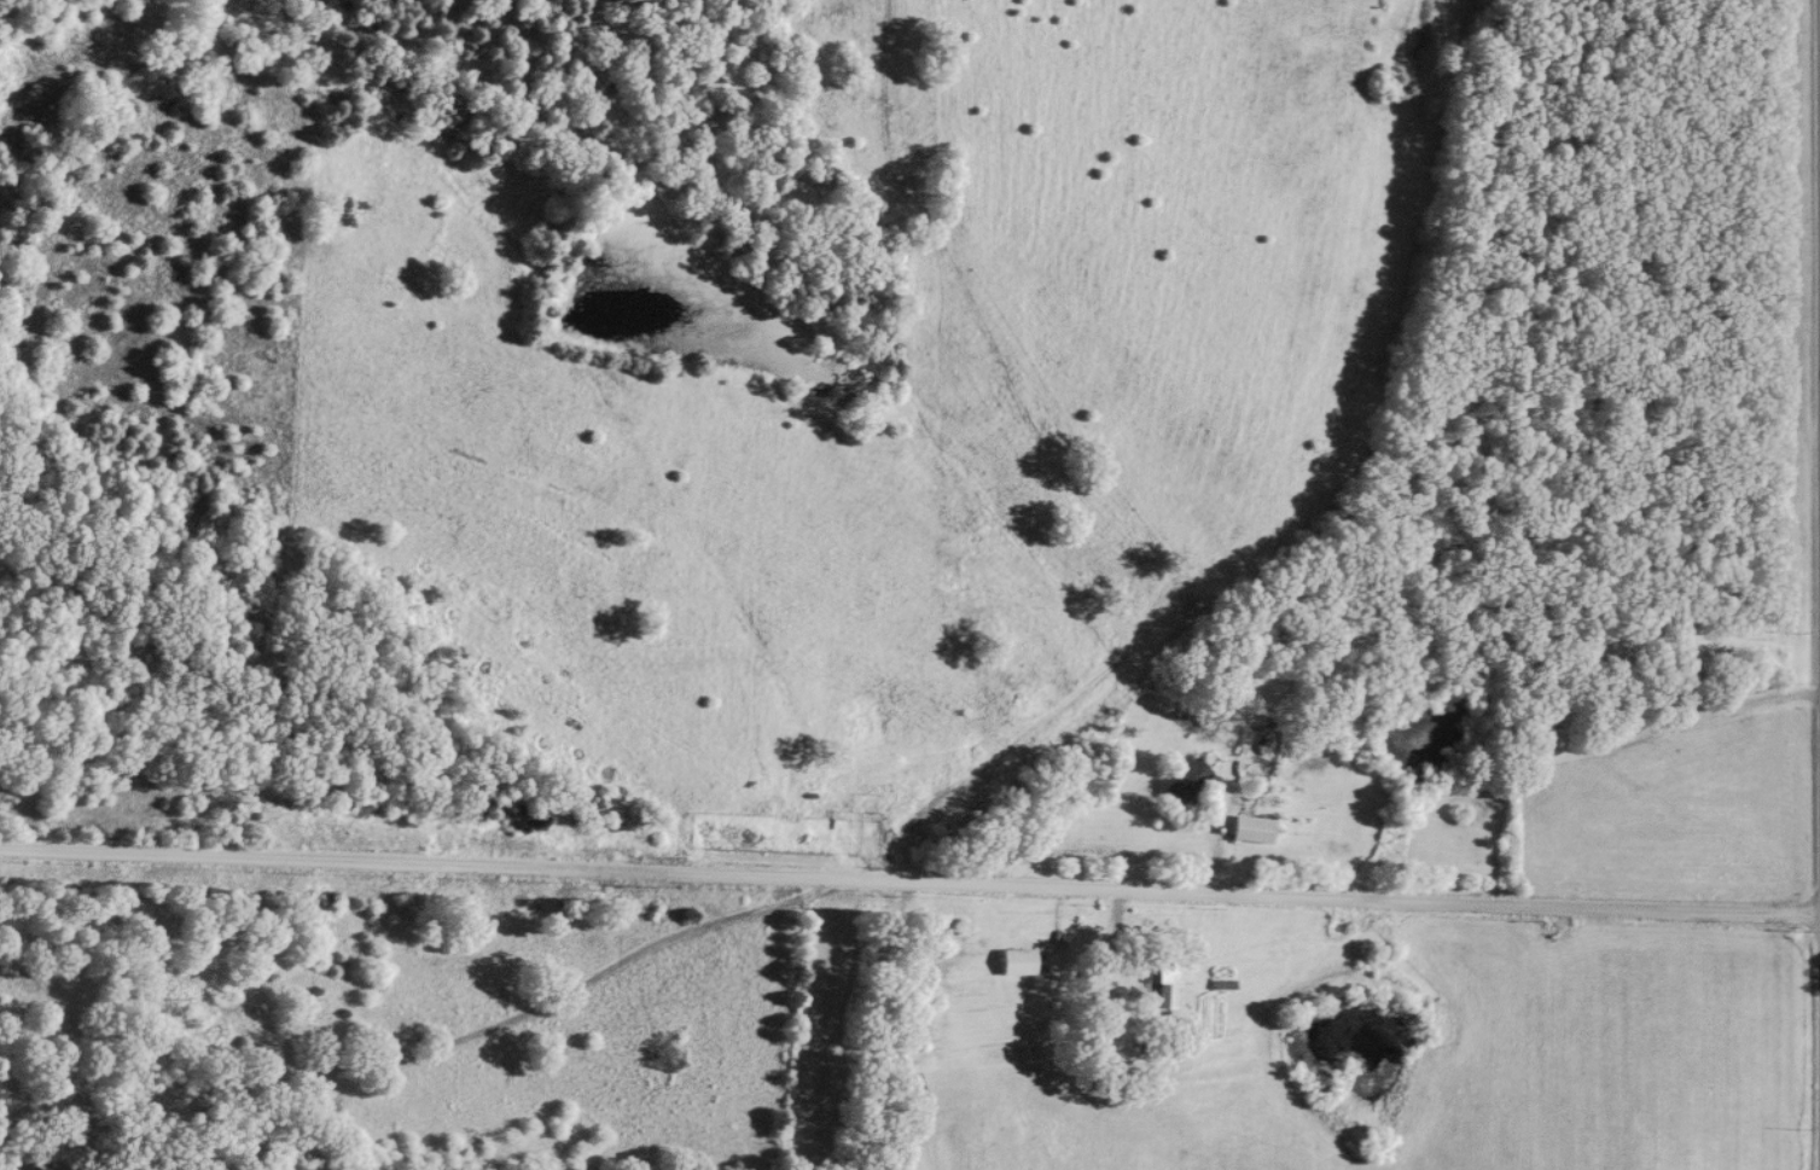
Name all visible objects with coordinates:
building: (1684, 679)
road: (1700, 715)
building: (1185, 784)
road: (909, 885)
building: (1016, 965)
building: (1158, 979)
road: (453, 1040)

